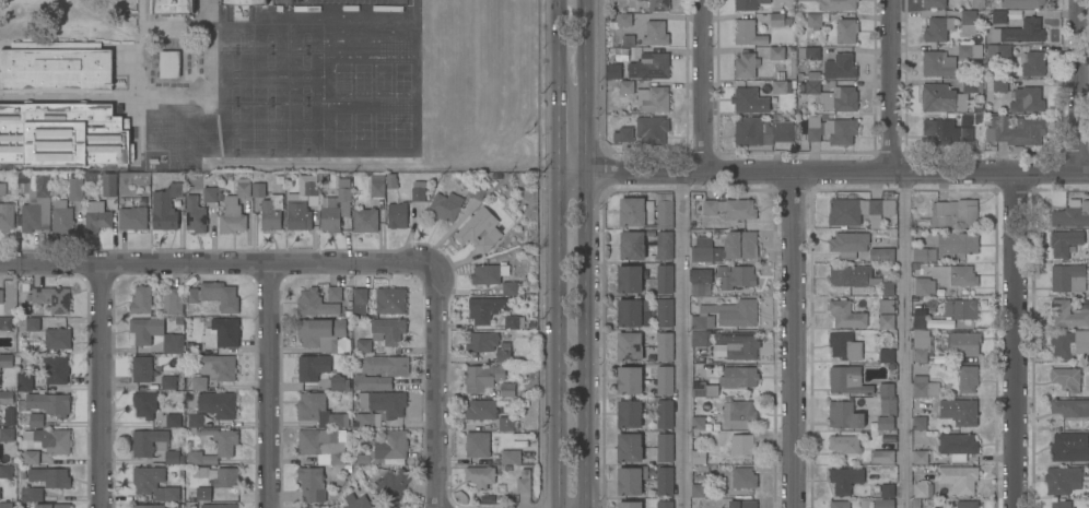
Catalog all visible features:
building: (641, 1)
building: (244, 2)
building: (934, 3)
building: (1022, 3)
building: (748, 4)
building: (838, 4)
building: (658, 5)
building: (172, 7)
building: (998, 16)
building: (776, 19)
building: (624, 20)
building: (813, 20)
building: (968, 21)
building: (938, 28)
building: (846, 31)
building: (1020, 32)
building: (656, 33)
building: (747, 33)
road: (559, 40)
building: (969, 50)
building: (999, 50)
building: (776, 52)
building: (808, 52)
building: (618, 54)
building: (169, 63)
building: (937, 63)
building: (1033, 63)
building: (746, 64)
building: (56, 66)
building: (649, 66)
building: (840, 67)
building: (613, 70)
building: (812, 82)
building: (972, 84)
building: (999, 85)
building: (625, 86)
road: (707, 86)
building: (778, 86)
road: (890, 86)
road: (1084, 86)
building: (941, 97)
building: (652, 99)
building: (747, 99)
building: (839, 99)
building: (1027, 99)
road: (559, 127)
building: (652, 130)
building: (832, 130)
building: (1015, 130)
building: (946, 131)
building: (762, 132)
building: (623, 133)
building: (63, 134)
road: (823, 173)
building: (391, 181)
building: (108, 184)
building: (2, 188)
building: (75, 189)
building: (258, 189)
building: (478, 191)
building: (418, 192)
building: (210, 194)
building: (374, 202)
building: (36, 203)
building: (302, 203)
building: (446, 205)
building: (165, 206)
building: (336, 206)
building: (731, 208)
building: (880, 208)
building: (234, 209)
building: (664, 210)
building: (635, 211)
building: (271, 212)
building: (844, 212)
building: (955, 213)
building: (397, 214)
building: (196, 215)
building: (1072, 215)
building: (7, 216)
building: (61, 216)
building: (132, 218)
building: (97, 220)
building: (479, 229)
building: (958, 243)
building: (740, 244)
building: (1067, 244)
building: (632, 245)
building: (664, 245)
building: (848, 245)
building: (702, 250)
road: (587, 253)
building: (881, 253)
building: (924, 253)
road: (219, 263)
building: (489, 273)
building: (850, 275)
building: (962, 275)
building: (738, 276)
building: (1067, 277)
building: (630, 279)
building: (665, 279)
building: (924, 286)
building: (510, 287)
building: (701, 288)
building: (887, 288)
building: (335, 294)
building: (214, 295)
building: (1, 296)
building: (50, 299)
building: (141, 300)
building: (173, 300)
building: (390, 300)
building: (315, 304)
building: (358, 304)
building: (887, 306)
building: (487, 308)
building: (960, 308)
building: (633, 312)
building: (665, 312)
building: (846, 314)
building: (1068, 314)
building: (726, 315)
building: (920, 320)
building: (887, 321)
building: (5, 322)
building: (513, 322)
building: (28, 323)
building: (388, 331)
building: (222, 332)
building: (155, 333)
building: (323, 334)
building: (57, 338)
building: (699, 338)
road: (558, 340)
road: (682, 340)
road: (792, 340)
road: (905, 340)
road: (1019, 340)
building: (481, 342)
building: (964, 343)
building: (739, 344)
building: (1070, 344)
building: (364, 345)
building: (844, 345)
building: (921, 345)
building: (629, 346)
building: (665, 346)
building: (504, 352)
building: (887, 355)
building: (7, 359)
building: (386, 365)
building: (220, 366)
building: (312, 367)
building: (56, 368)
building: (142, 369)
building: (482, 377)
building: (738, 377)
building: (968, 378)
building: (1066, 378)
building: (664, 379)
building: (24, 380)
building: (630, 380)
building: (847, 380)
building: (167, 382)
building: (339, 382)
building: (372, 382)
building: (199, 383)
road: (437, 385)
road: (267, 386)
road: (101, 387)
building: (924, 387)
building: (507, 389)
building: (704, 389)
building: (887, 389)
building: (7, 397)
building: (49, 403)
building: (144, 404)
building: (218, 404)
building: (889, 406)
building: (379, 407)
building: (1070, 407)
building: (481, 410)
building: (319, 411)
building: (967, 412)
building: (738, 413)
building: (629, 414)
building: (665, 414)
building: (844, 415)
building: (10, 416)
building: (36, 420)
building: (196, 420)
building: (173, 421)
building: (506, 423)
building: (700, 423)
building: (885, 423)
building: (920, 423)
building: (7, 434)
building: (50, 439)
building: (149, 441)
building: (742, 444)
building: (844, 444)
building: (324, 445)
building: (478, 445)
building: (958, 445)
building: (665, 446)
building: (1069, 446)
building: (225, 447)
building: (629, 447)
building: (385, 448)
building: (920, 456)
building: (30, 457)
building: (173, 457)
building: (508, 457)
building: (883, 457)
building: (699, 459)
building: (5, 471)
building: (200, 472)
building: (480, 475)
building: (50, 476)
building: (225, 477)
building: (743, 477)
building: (959, 477)
building: (845, 479)
building: (1065, 479)
building: (631, 480)
building: (524, 481)
building: (664, 481)
building: (312, 483)
building: (154, 484)
building: (394, 485)
building: (502, 487)
building: (923, 488)
building: (701, 489)
building: (887, 491)
building: (203, 493)
building: (31, 494)
building: (488, 498)
building: (358, 501)
building: (883, 503)
building: (915, 503)
building: (630, 504)
building: (665, 504)
building: (742, 504)
building: (839, 504)
building: (967, 504)
building: (1061, 504)
building: (5, 505)
building: (51, 506)
building: (149, 506)
building: (219, 506)

